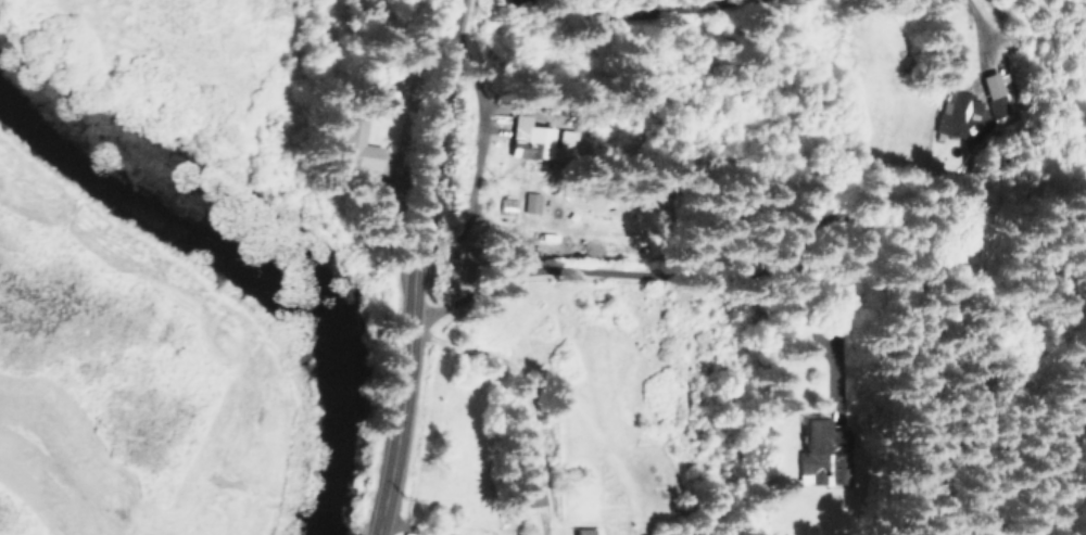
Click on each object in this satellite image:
building: (996, 84)
building: (956, 113)
road: (428, 140)
building: (534, 140)
building: (354, 147)
building: (529, 201)
building: (504, 205)
road: (628, 275)
road: (401, 409)
building: (818, 437)
building: (531, 476)
building: (582, 531)

